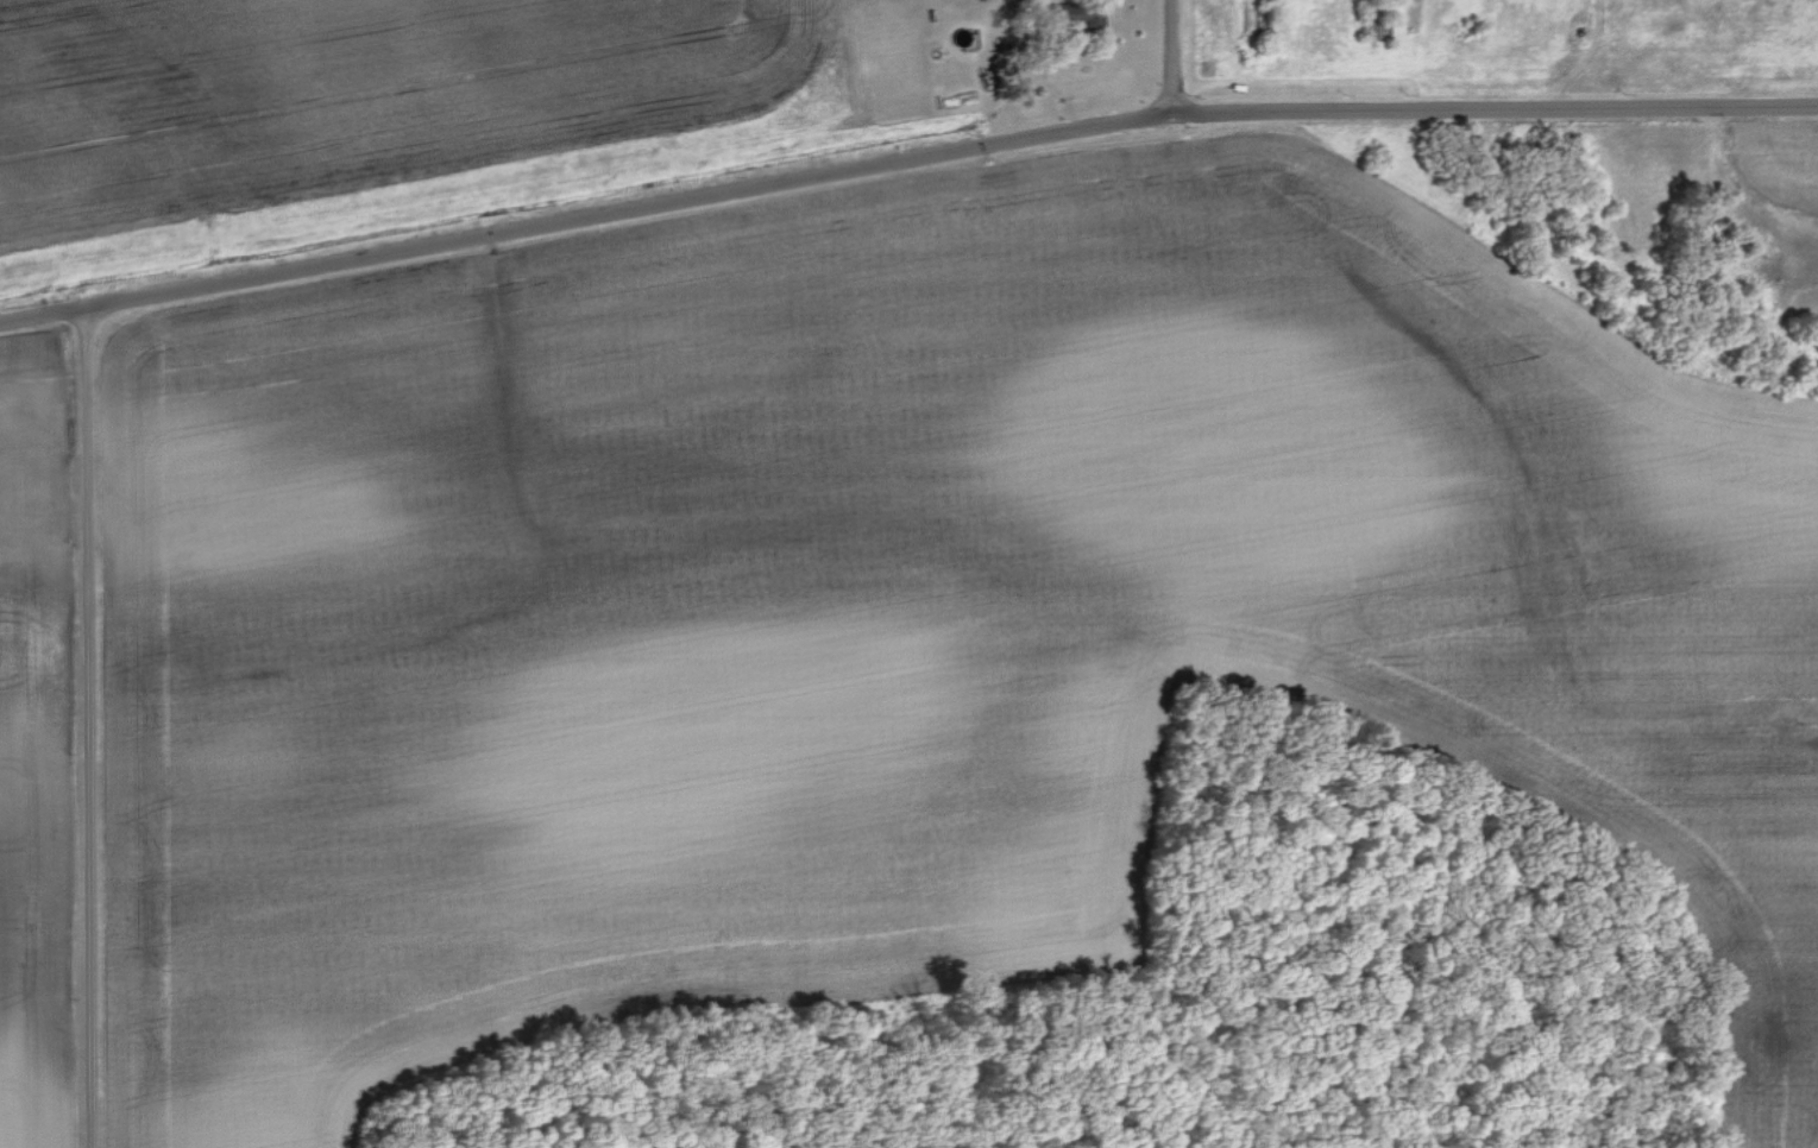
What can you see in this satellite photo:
road: (1170, 53)
road: (904, 156)
road: (84, 727)

